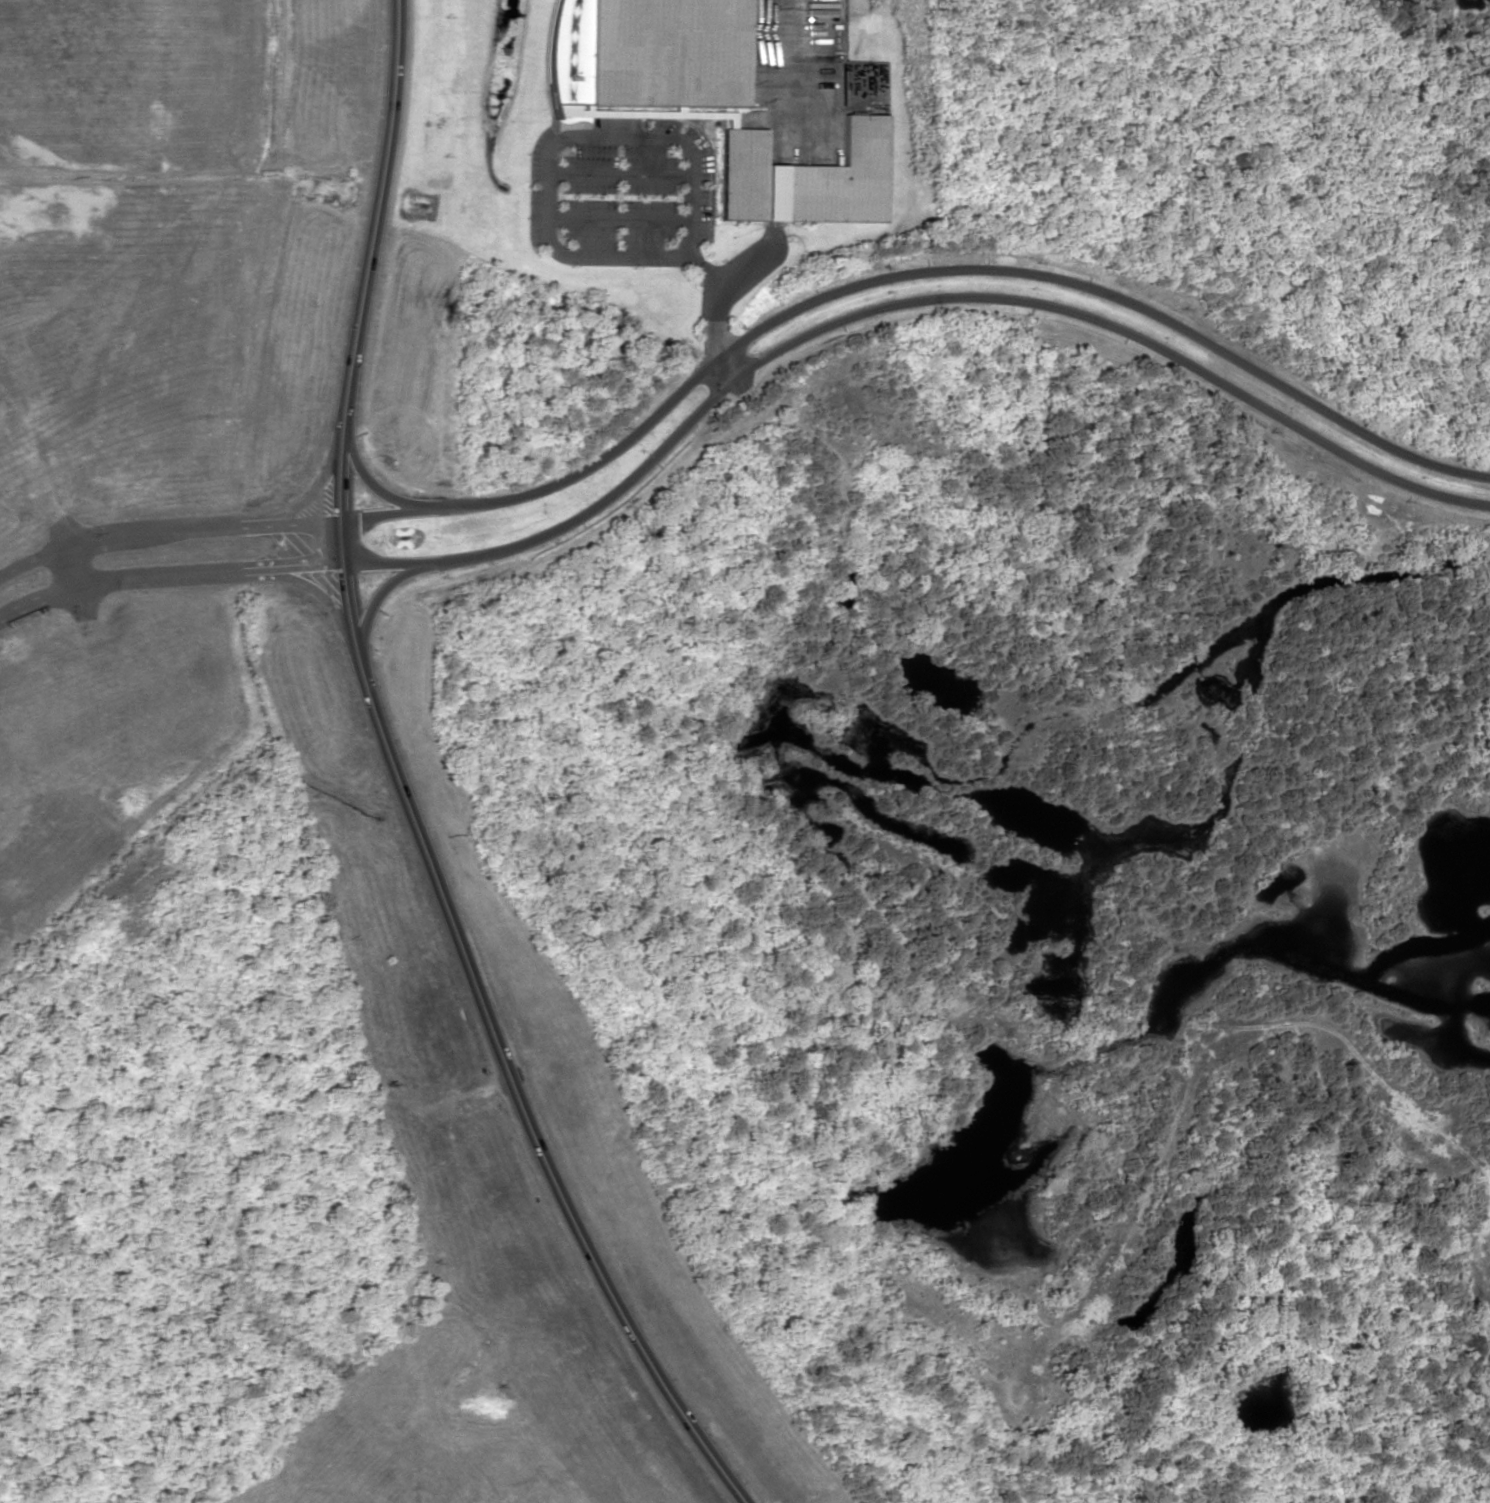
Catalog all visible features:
building: (647, 51)
building: (805, 177)
road: (903, 270)
road: (898, 300)
road: (384, 492)
road: (166, 530)
road: (72, 566)
road: (167, 576)
road: (379, 587)
road: (405, 787)

